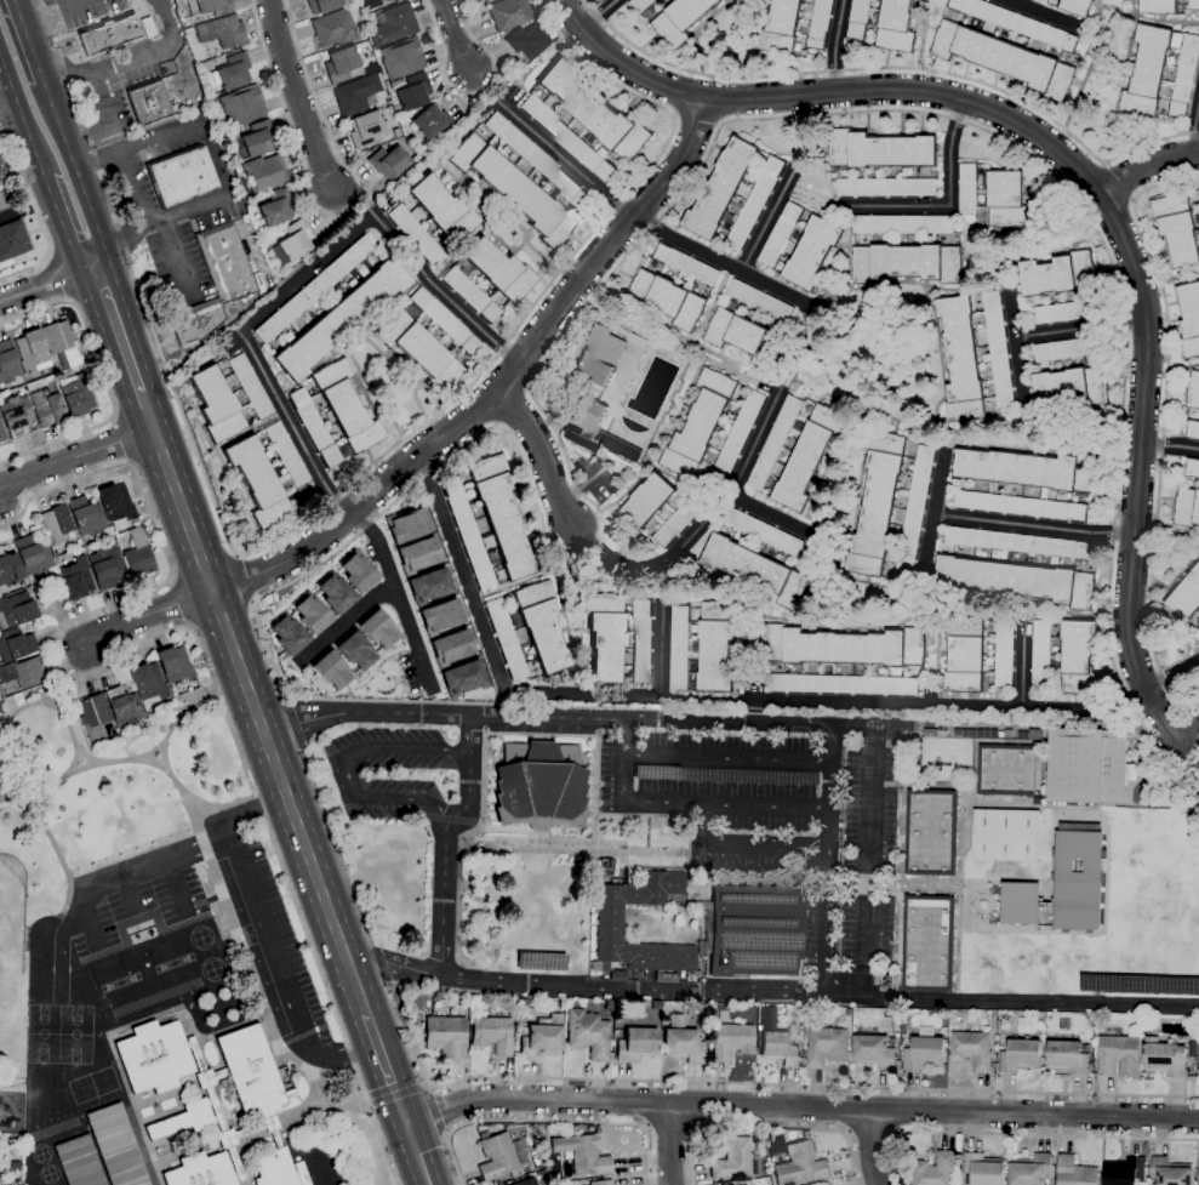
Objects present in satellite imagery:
road: (15, 0)
building: (387, 0)
building: (476, 0)
building: (483, 0)
road: (1021, 1)
building: (1194, 4)
building: (321, 5)
building: (641, 5)
building: (1157, 6)
building: (209, 7)
road: (579, 7)
building: (1078, 7)
building: (508, 13)
road: (1044, 13)
road: (599, 15)
building: (680, 19)
building: (858, 19)
building: (820, 23)
building: (1017, 23)
building: (393, 25)
building: (896, 25)
building: (145, 27)
building: (332, 28)
building: (780, 28)
building: (221, 33)
road: (453, 34)
building: (107, 35)
road: (28, 41)
building: (526, 41)
road: (835, 45)
building: (400, 58)
building: (1004, 58)
road: (126, 59)
building: (339, 64)
road: (896, 68)
building: (232, 72)
building: (1147, 72)
building: (1184, 78)
building: (412, 92)
road: (473, 92)
road: (297, 95)
building: (355, 95)
road: (92, 102)
building: (148, 103)
road: (8, 107)
building: (240, 107)
road: (19, 112)
building: (584, 120)
building: (432, 123)
building: (364, 129)
road: (1197, 131)
road: (156, 136)
building: (256, 138)
building: (881, 149)
road: (121, 150)
road: (561, 156)
road: (703, 156)
road: (1063, 160)
road: (95, 161)
building: (388, 161)
road: (1148, 167)
road: (76, 173)
building: (263, 173)
building: (0, 175)
building: (182, 177)
building: (521, 181)
building: (967, 186)
road: (224, 187)
building: (886, 187)
building: (721, 188)
road: (127, 190)
road: (812, 194)
building: (1006, 198)
building: (756, 201)
road: (948, 205)
road: (25, 209)
building: (273, 209)
building: (443, 209)
road: (335, 213)
road: (39, 218)
road: (767, 218)
road: (159, 220)
road: (59, 223)
building: (903, 223)
building: (1177, 228)
building: (781, 232)
building: (413, 234)
building: (12, 240)
building: (291, 243)
building: (813, 252)
road: (720, 262)
building: (685, 263)
building: (907, 263)
road: (309, 272)
building: (1057, 274)
road: (56, 279)
building: (489, 279)
road: (46, 283)
building: (213, 284)
building: (314, 287)
road: (444, 291)
building: (667, 298)
building: (760, 300)
building: (1067, 311)
building: (1189, 317)
building: (339, 320)
road: (118, 331)
road: (1080, 331)
building: (743, 336)
road: (1015, 338)
building: (426, 340)
road: (804, 341)
building: (62, 342)
building: (998, 347)
building: (1069, 348)
building: (32, 352)
building: (601, 355)
building: (961, 359)
building: (7, 363)
road: (104, 381)
building: (250, 386)
road: (498, 386)
building: (1070, 387)
building: (1193, 389)
building: (75, 394)
building: (216, 404)
building: (346, 406)
building: (47, 408)
building: (15, 416)
road: (292, 423)
building: (698, 425)
building: (313, 427)
building: (1193, 428)
building: (594, 431)
road: (1160, 431)
building: (1, 435)
building: (0, 440)
building: (735, 440)
road: (1169, 446)
building: (797, 451)
road: (541, 454)
road: (74, 457)
building: (1192, 466)
building: (1030, 469)
building: (268, 474)
building: (647, 500)
road: (330, 501)
building: (877, 502)
building: (115, 503)
building: (1022, 505)
building: (1187, 507)
building: (914, 511)
road: (936, 511)
road: (770, 515)
building: (87, 519)
road: (709, 523)
building: (56, 524)
building: (489, 524)
building: (674, 524)
building: (406, 525)
road: (1034, 526)
building: (771, 535)
building: (1021, 542)
building: (137, 554)
building: (417, 554)
building: (33, 556)
building: (104, 568)
building: (755, 569)
building: (8, 570)
building: (355, 571)
road: (244, 579)
building: (75, 580)
building: (1016, 580)
road: (657, 582)
building: (428, 585)
building: (332, 593)
building: (1186, 596)
road: (398, 597)
building: (16, 611)
building: (309, 613)
road: (148, 615)
building: (439, 616)
road: (68, 622)
road: (344, 623)
building: (377, 629)
building: (527, 632)
building: (1197, 633)
building: (286, 634)
building: (618, 639)
building: (15, 644)
building: (702, 644)
building: (844, 645)
building: (450, 646)
building: (354, 651)
building: (1004, 651)
building: (965, 654)
building: (1064, 654)
road: (1021, 662)
building: (175, 665)
building: (330, 671)
building: (23, 672)
road: (1171, 673)
building: (461, 678)
building: (147, 683)
building: (844, 684)
road: (504, 688)
road: (700, 696)
road: (946, 701)
road: (252, 705)
road: (34, 708)
building: (108, 713)
road: (1163, 716)
road: (548, 717)
road: (293, 723)
road: (1188, 736)
road: (470, 745)
road: (161, 752)
road: (726, 757)
road: (829, 757)
road: (344, 764)
building: (1087, 765)
building: (1007, 769)
road: (1195, 775)
road: (67, 776)
building: (538, 787)
road: (646, 799)
building: (1038, 801)
road: (769, 804)
road: (198, 805)
park: (90, 827)
building: (933, 832)
building: (1006, 834)
road: (769, 842)
road: (336, 849)
building: (606, 867)
road: (130, 872)
building: (1064, 884)
building: (708, 928)
road: (266, 939)
building: (932, 942)
road: (381, 963)
road: (433, 974)
building: (616, 976)
building: (662, 978)
road: (672, 989)
road: (1012, 997)
road: (332, 1009)
building: (587, 1033)
building: (492, 1035)
building: (446, 1036)
building: (541, 1038)
building: (681, 1042)
building: (730, 1042)
building: (827, 1043)
building: (635, 1044)
building: (777, 1047)
building: (972, 1049)
building: (874, 1050)
building: (924, 1053)
building: (1021, 1055)
building: (1119, 1055)
building: (1068, 1056)
building: (1165, 1056)
building: (154, 1058)
road: (384, 1066)
road: (755, 1083)
road: (395, 1094)
building: (239, 1105)
road: (801, 1106)
road: (435, 1111)
road: (546, 1121)
road: (767, 1127)
road: (670, 1129)
road: (870, 1134)
road: (1021, 1134)
road: (670, 1144)
building: (115, 1146)
road: (872, 1146)
road: (417, 1152)
building: (582, 1155)
building: (499, 1157)
building: (733, 1160)
building: (78, 1162)
building: (800, 1163)
building: (15, 1166)
building: (936, 1169)
building: (983, 1169)
building: (1030, 1169)
building: (200, 1170)
building: (1125, 1170)
building: (1075, 1172)
building: (1170, 1172)
building: (1198, 1175)
building: (525, 1183)
building: (600, 1183)
building: (743, 1184)
building: (823, 1184)

